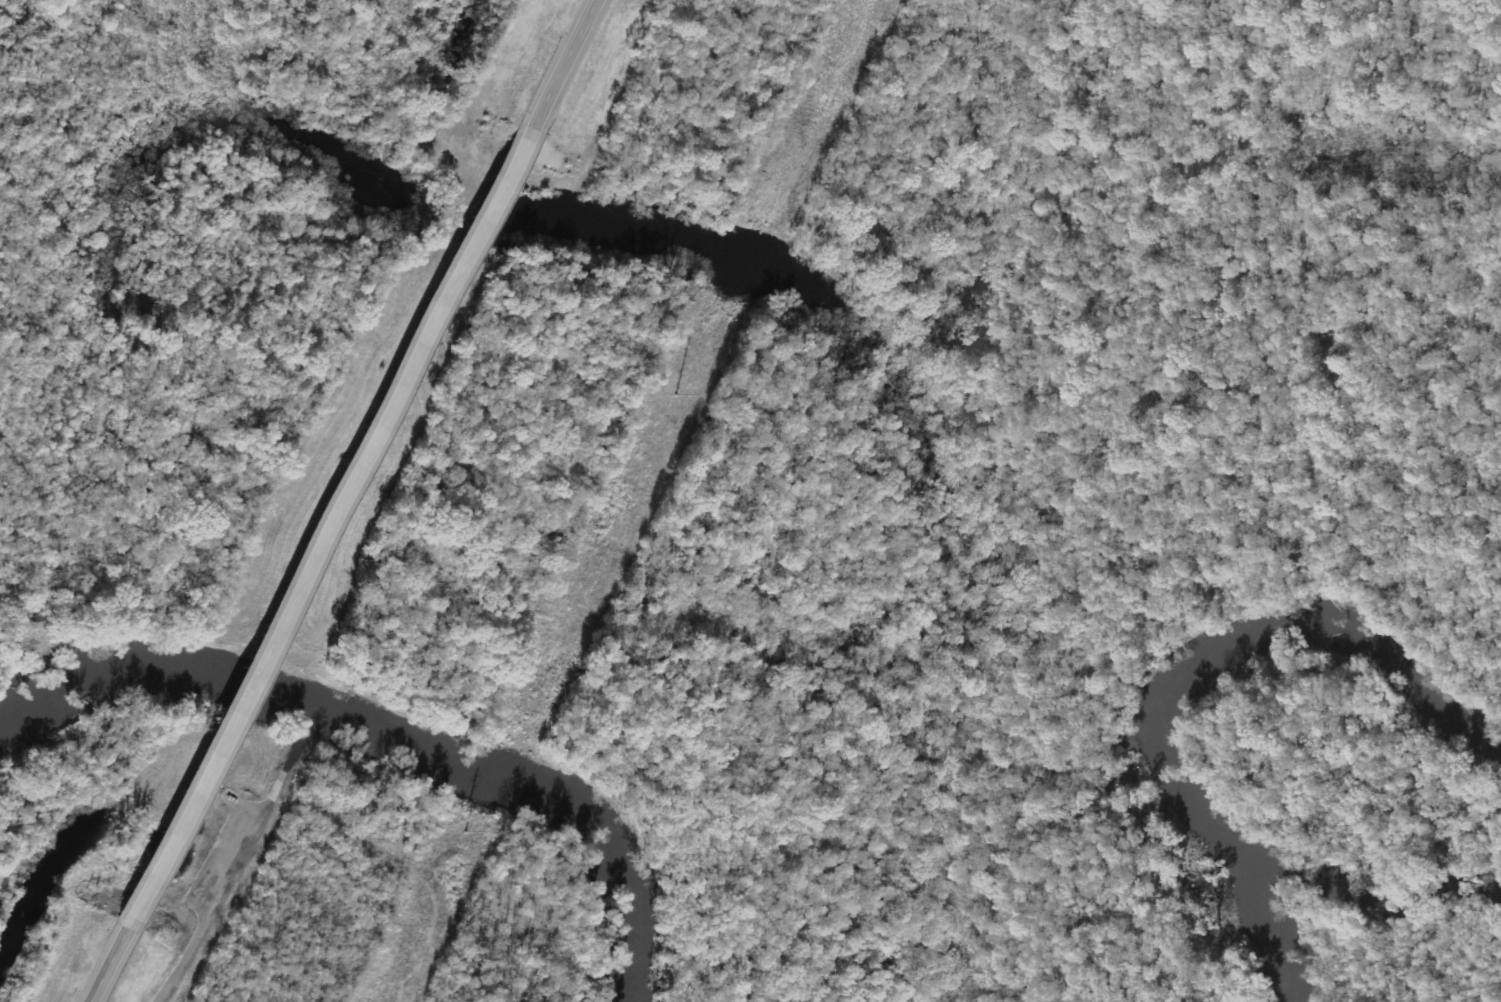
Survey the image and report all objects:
road: (561, 64)
power tower: (761, 220)
road: (325, 524)
power tower: (562, 627)
river: (1172, 665)
river: (394, 735)
road: (103, 961)

